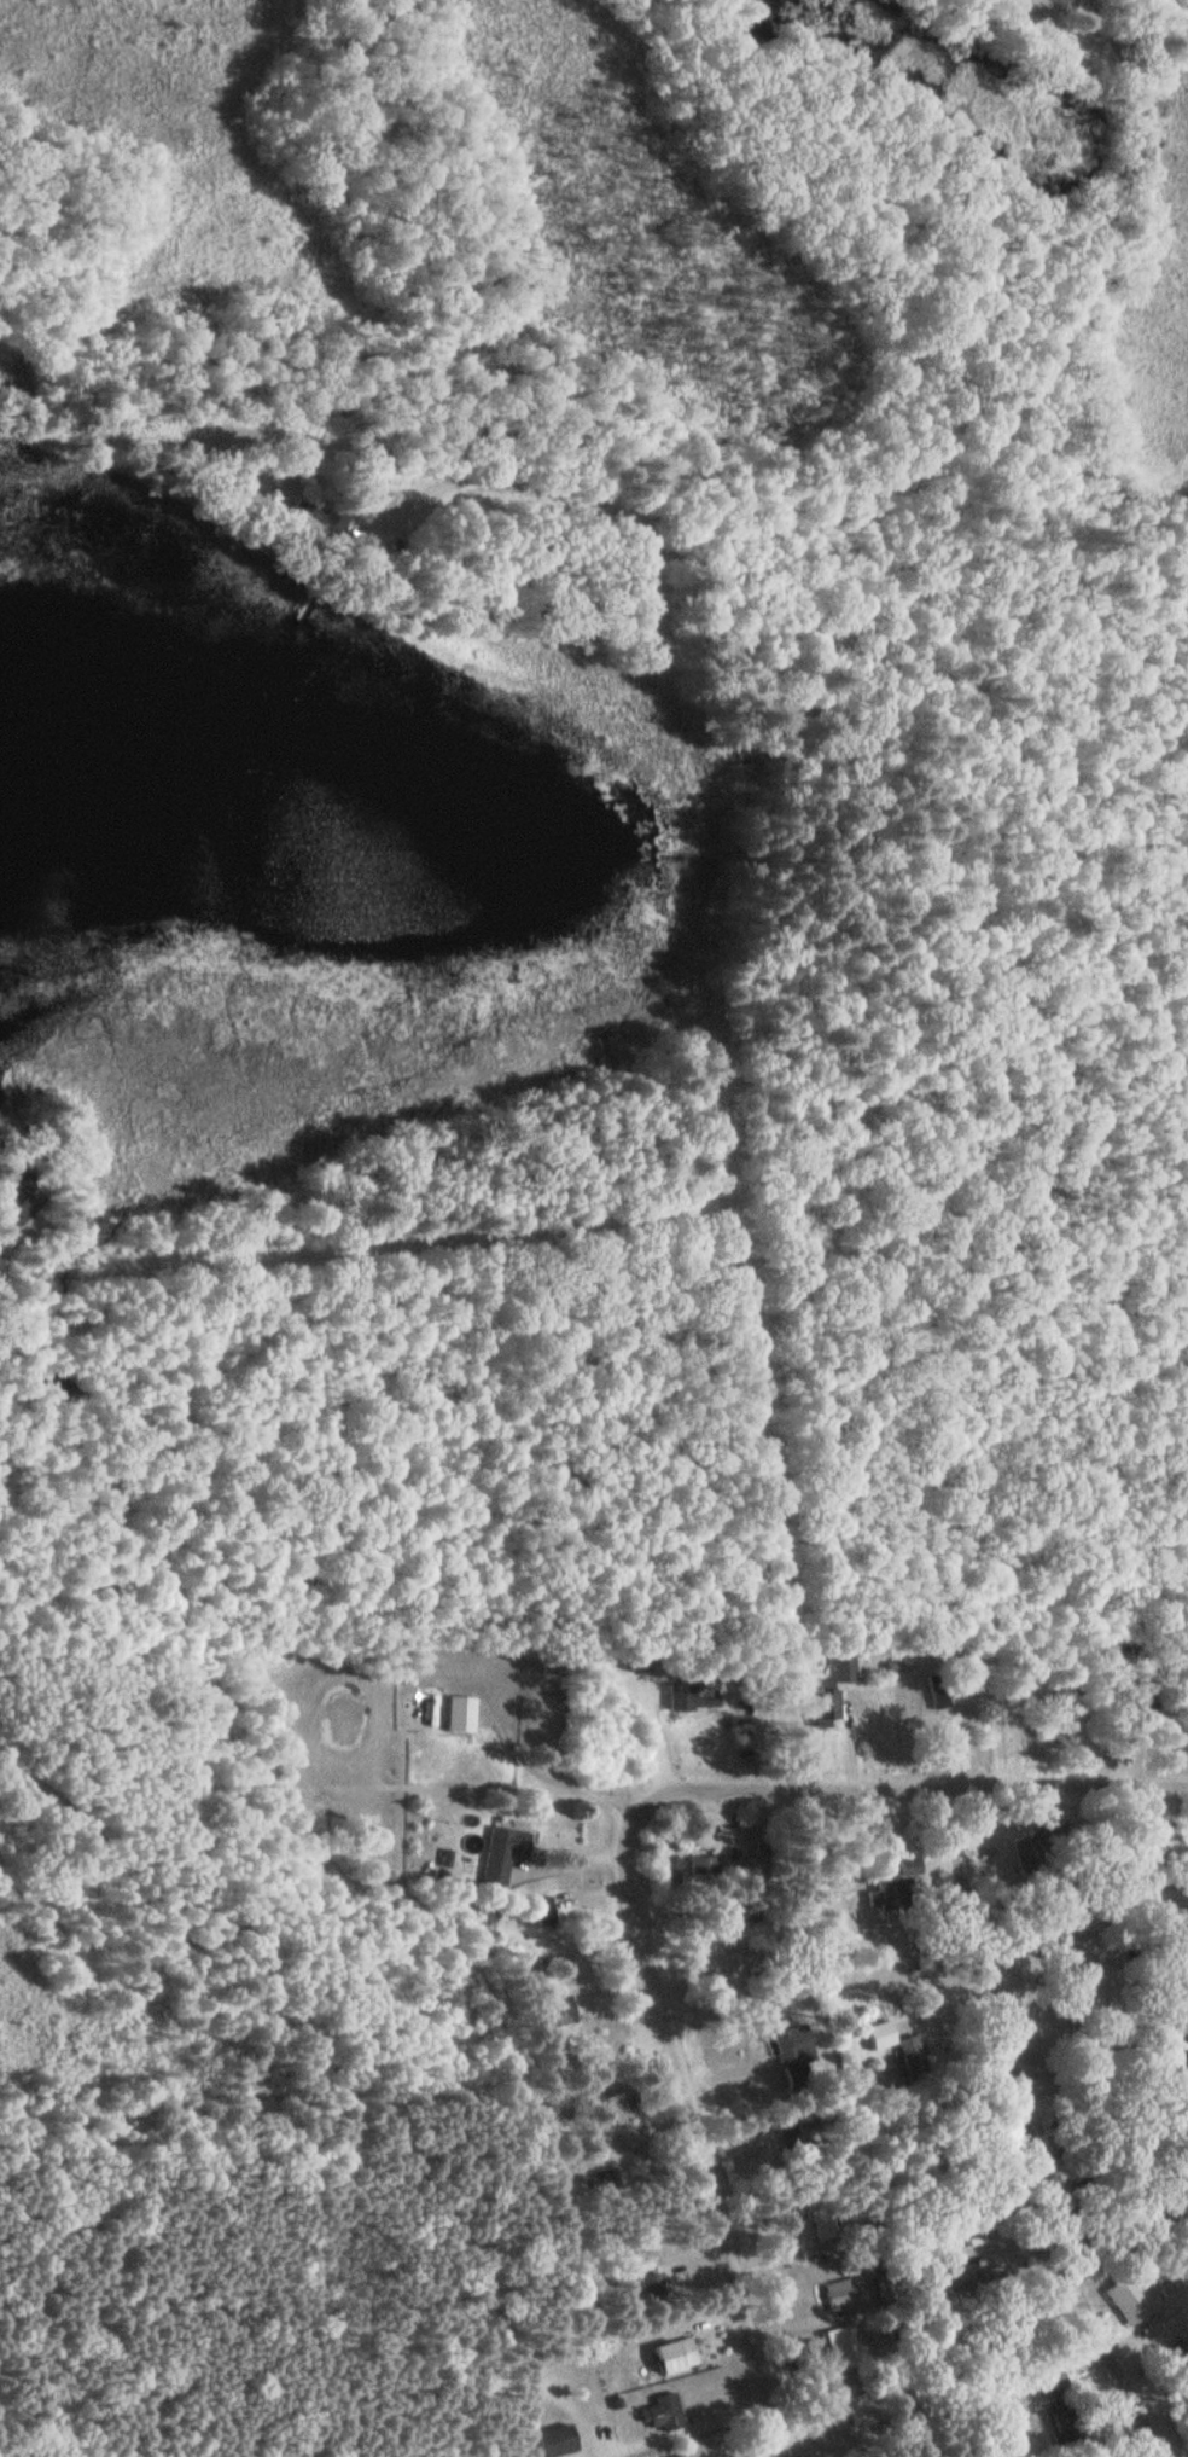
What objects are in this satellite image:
road: (1008, 861)
building: (29, 1208)
building: (841, 1686)
building: (688, 1695)
building: (459, 1712)
road: (912, 1791)
building: (503, 1854)
building: (704, 1865)
building: (671, 1871)
building: (759, 1881)
building: (889, 1893)
building: (765, 1915)
building: (796, 2049)
building: (714, 2056)
building: (913, 2057)
building: (623, 2108)
road: (705, 2132)
building: (805, 2133)
road: (1032, 2136)
building: (887, 2287)
building: (840, 2293)
building: (1130, 2300)
building: (841, 2347)
building: (797, 2353)
building: (677, 2356)
building: (1050, 2385)
building: (862, 2409)
building: (665, 2411)
building: (1065, 2424)
building: (558, 2440)
building: (683, 2456)
building: (699, 2456)

